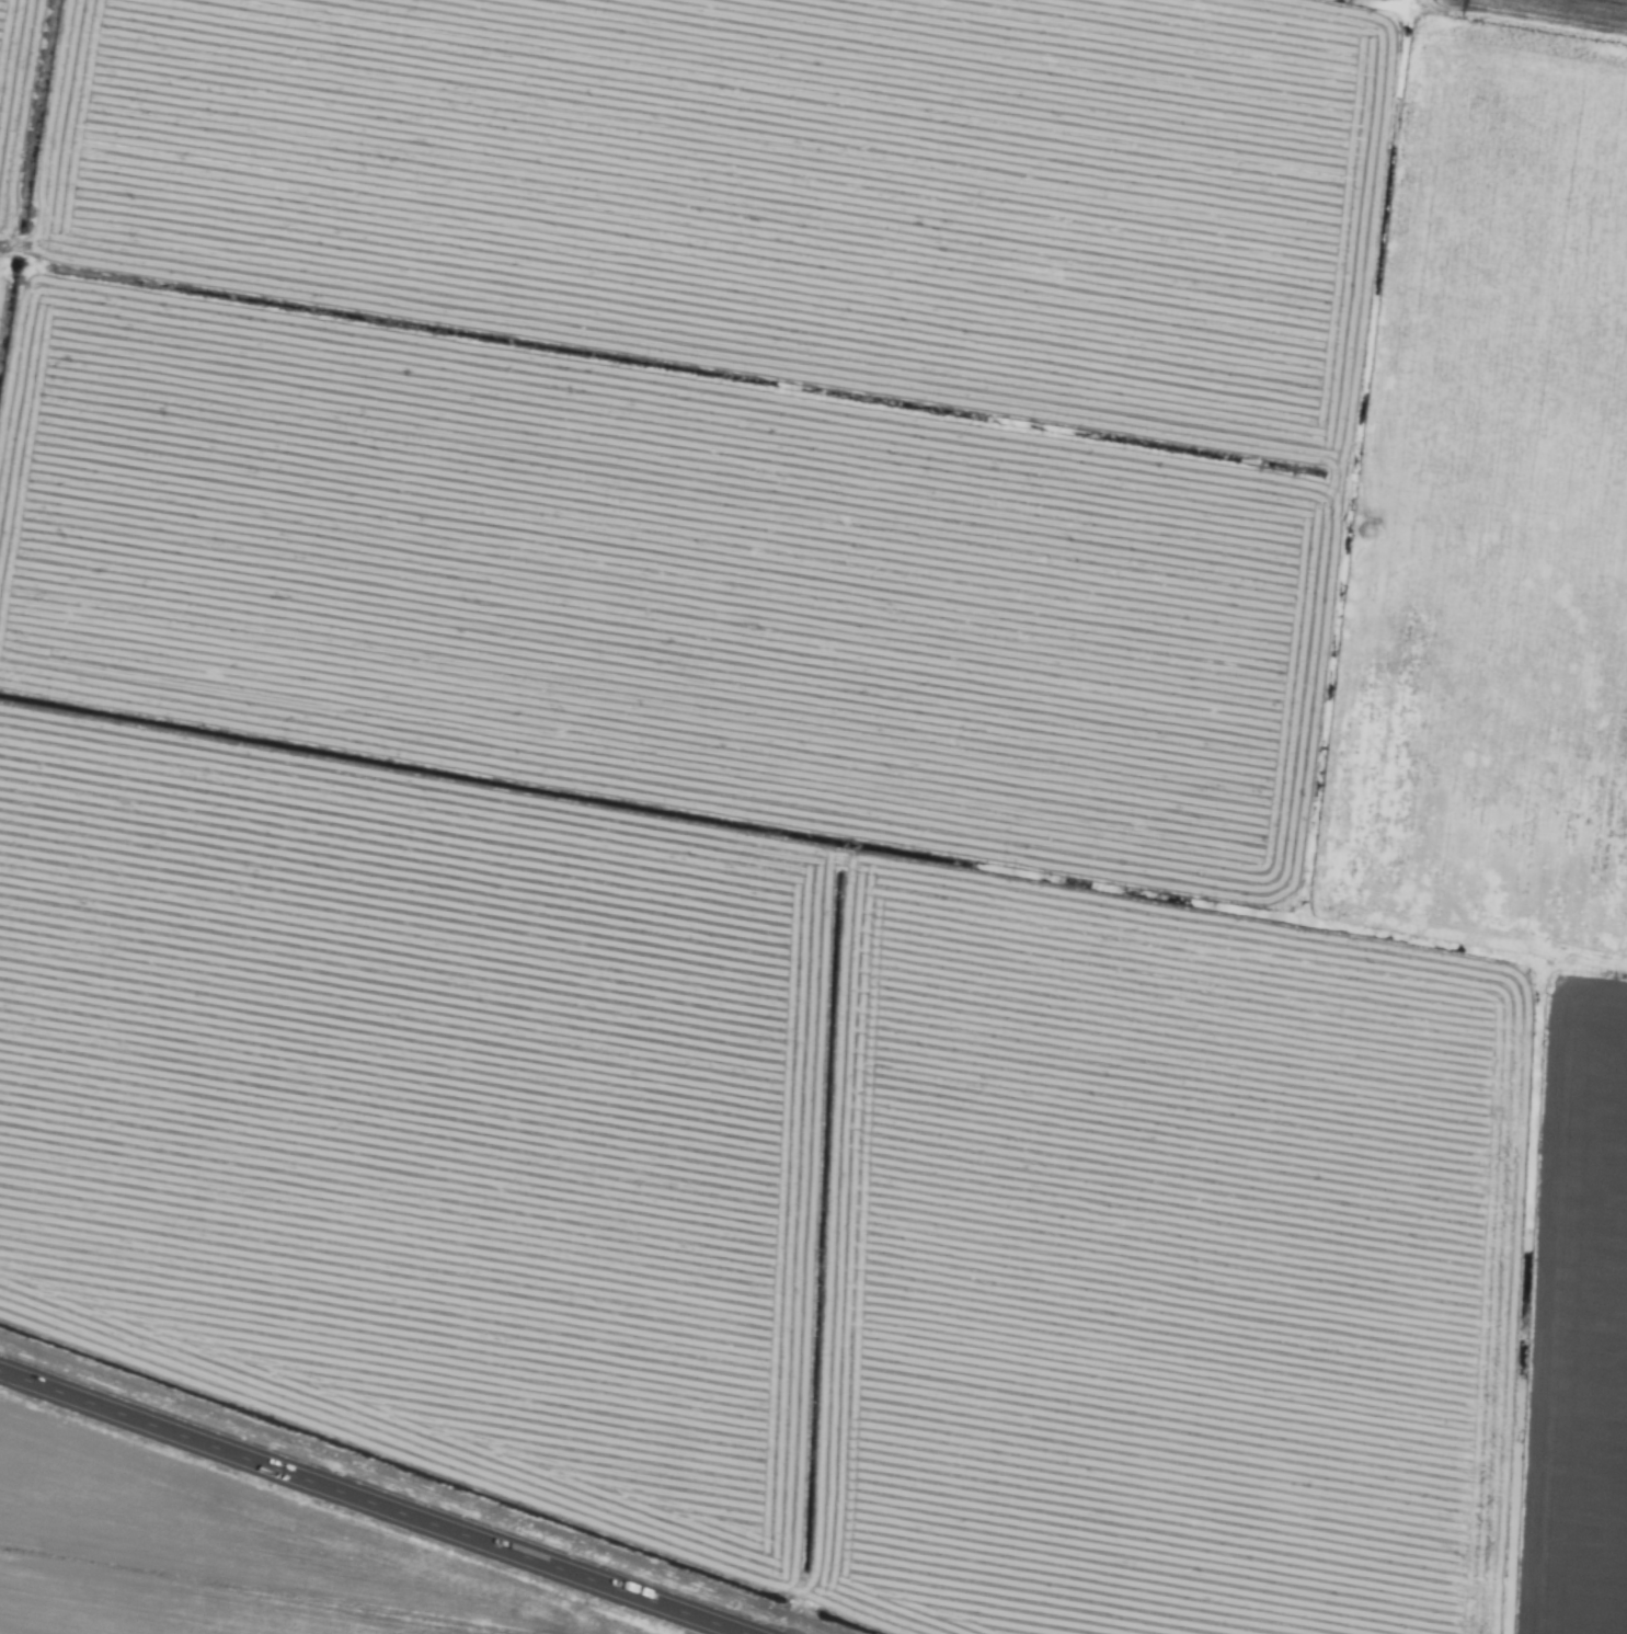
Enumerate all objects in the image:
crop: (813, 816)
road: (370, 1502)

